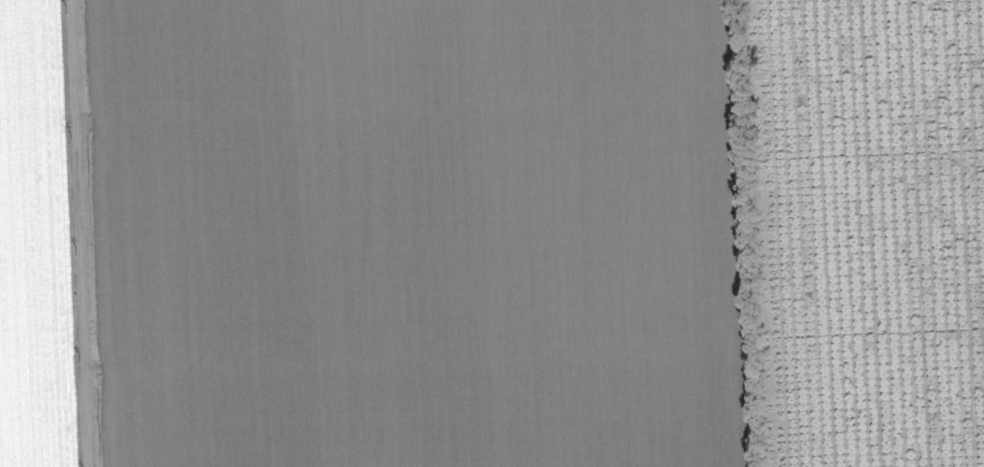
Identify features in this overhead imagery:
crop: (492, 233)

